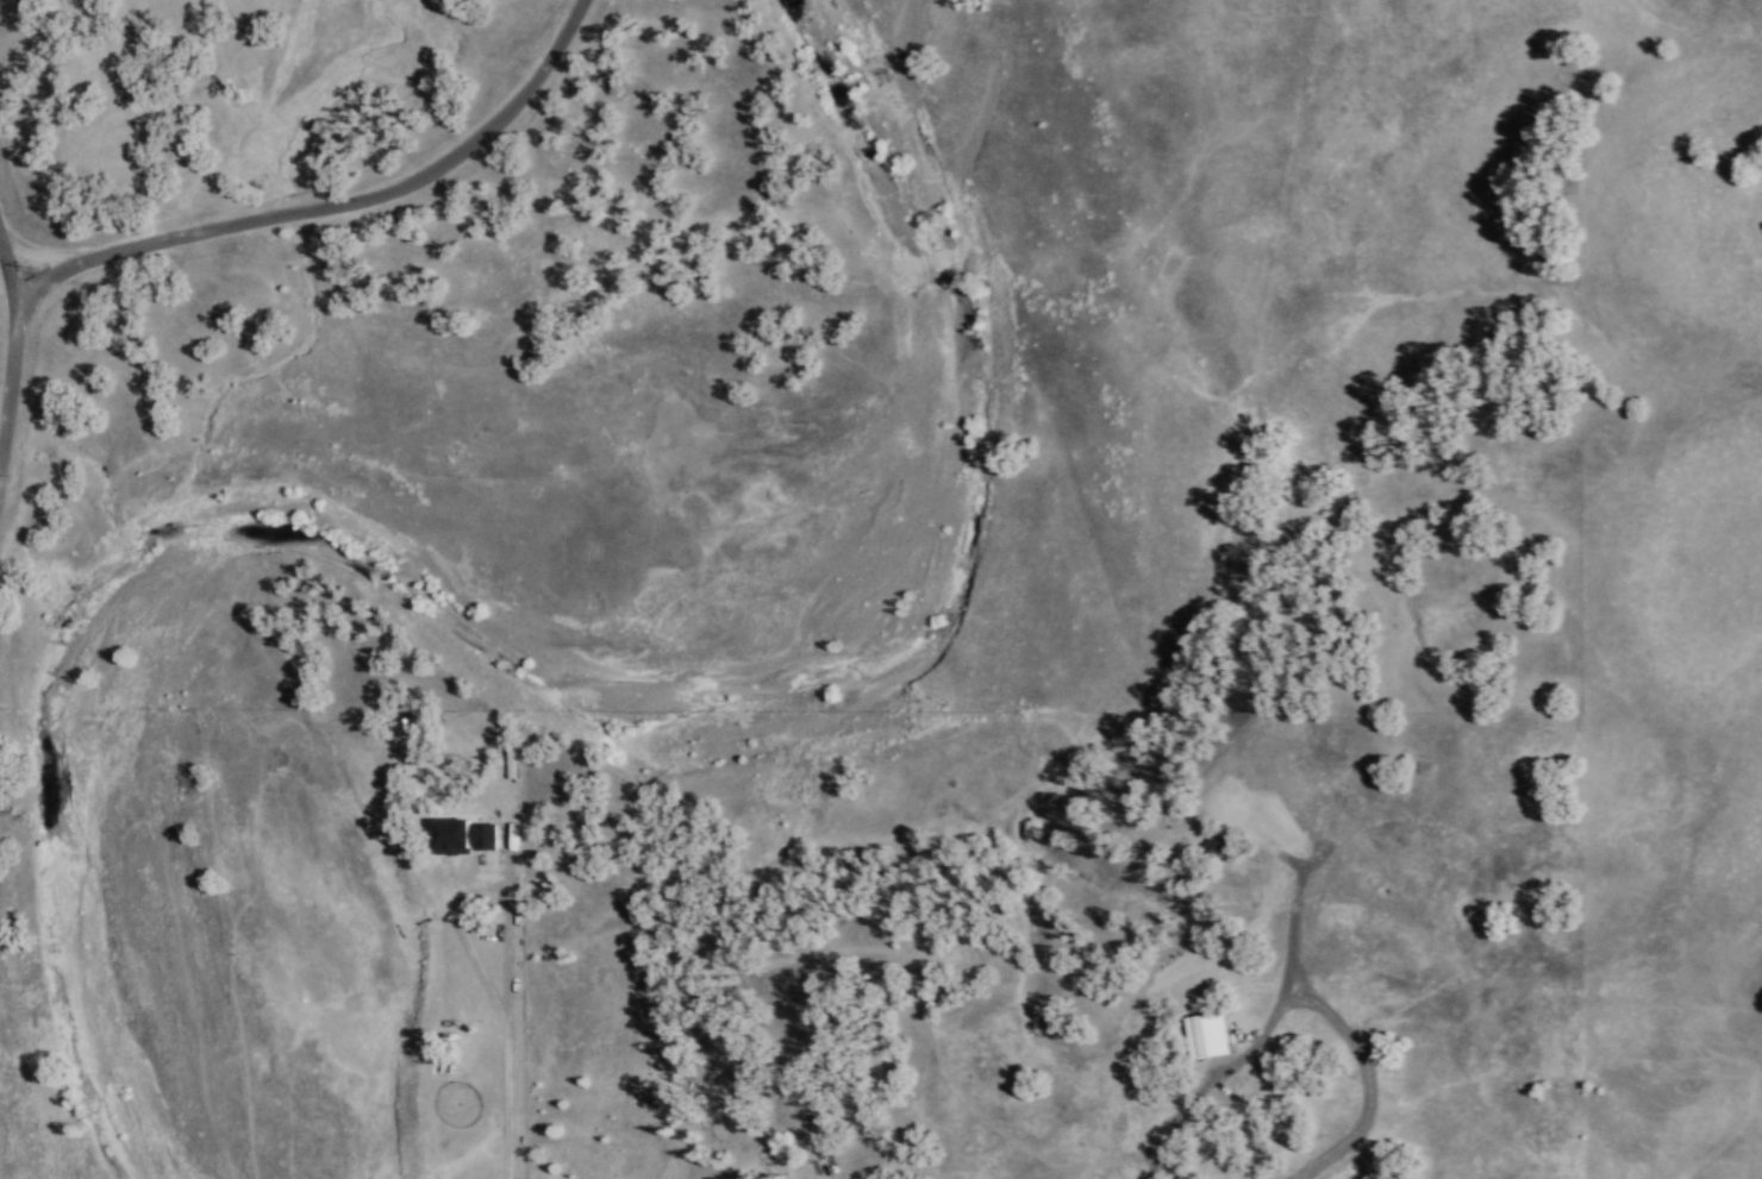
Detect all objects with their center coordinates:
road: (239, 225)
road: (14, 262)
building: (468, 833)
building: (1217, 844)
road: (477, 882)
building: (1207, 1034)
road: (1255, 1036)
road: (506, 1100)

